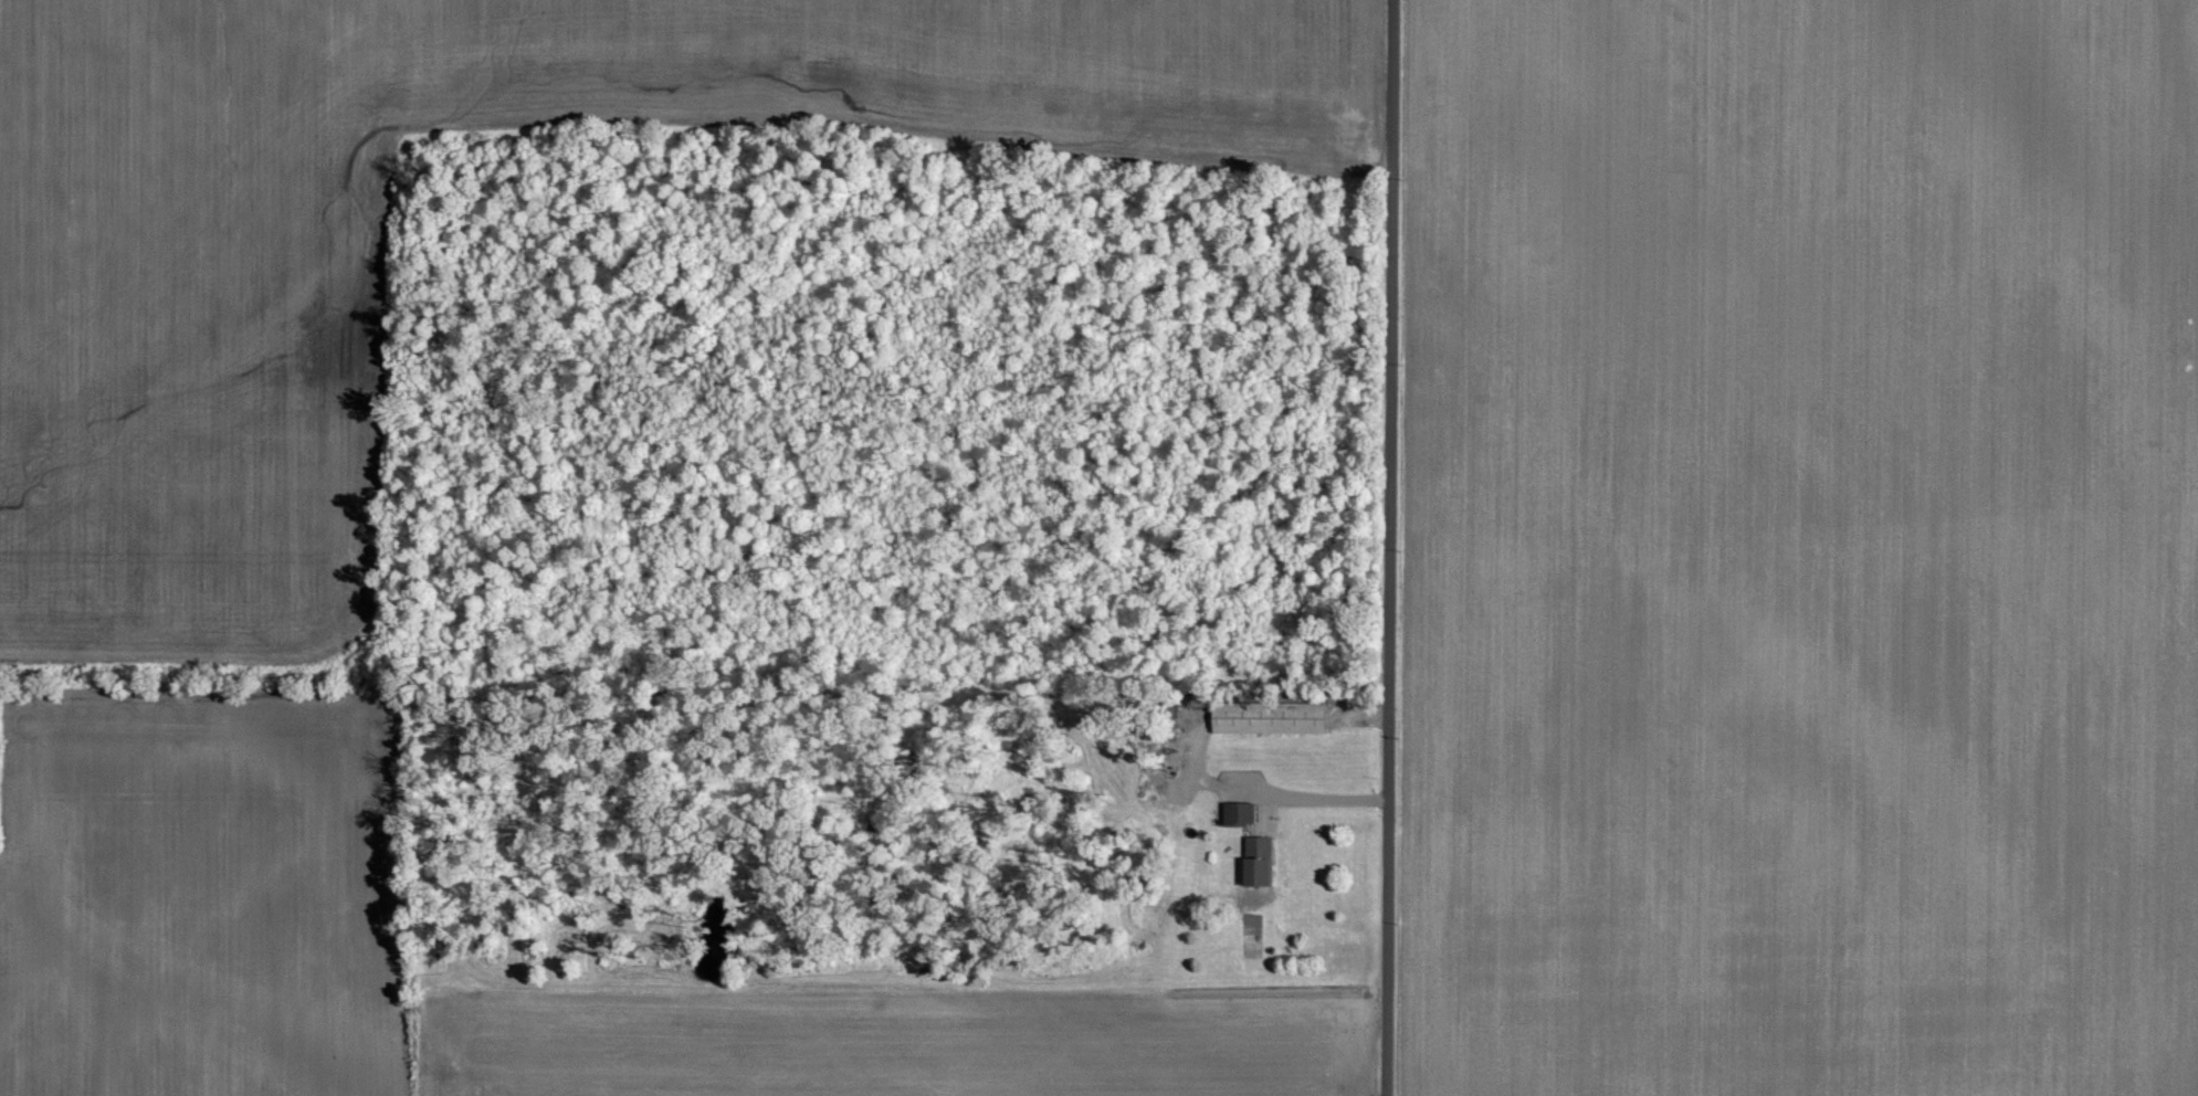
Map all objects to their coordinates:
road: (1392, 548)
building: (1269, 717)
building: (1238, 813)
building: (1256, 860)

